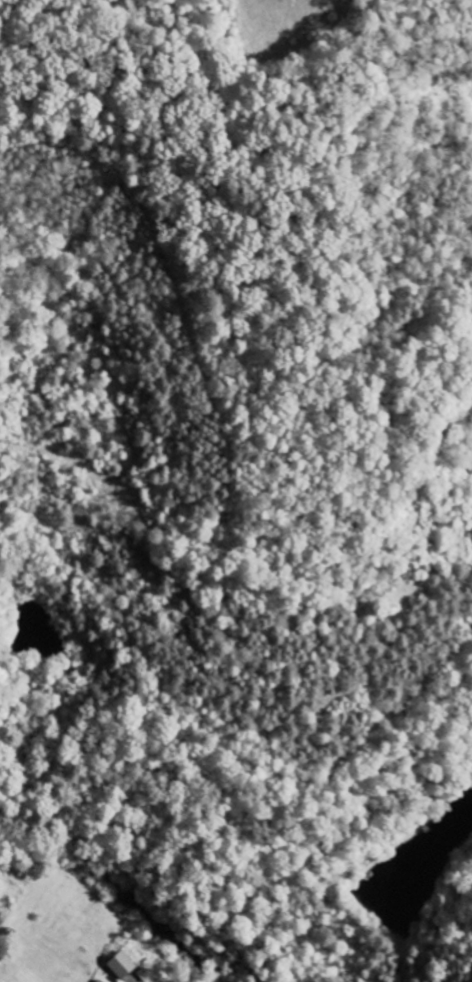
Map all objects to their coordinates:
park: (140, 91)
road: (105, 907)
building: (123, 966)
building: (145, 975)
building: (101, 981)

